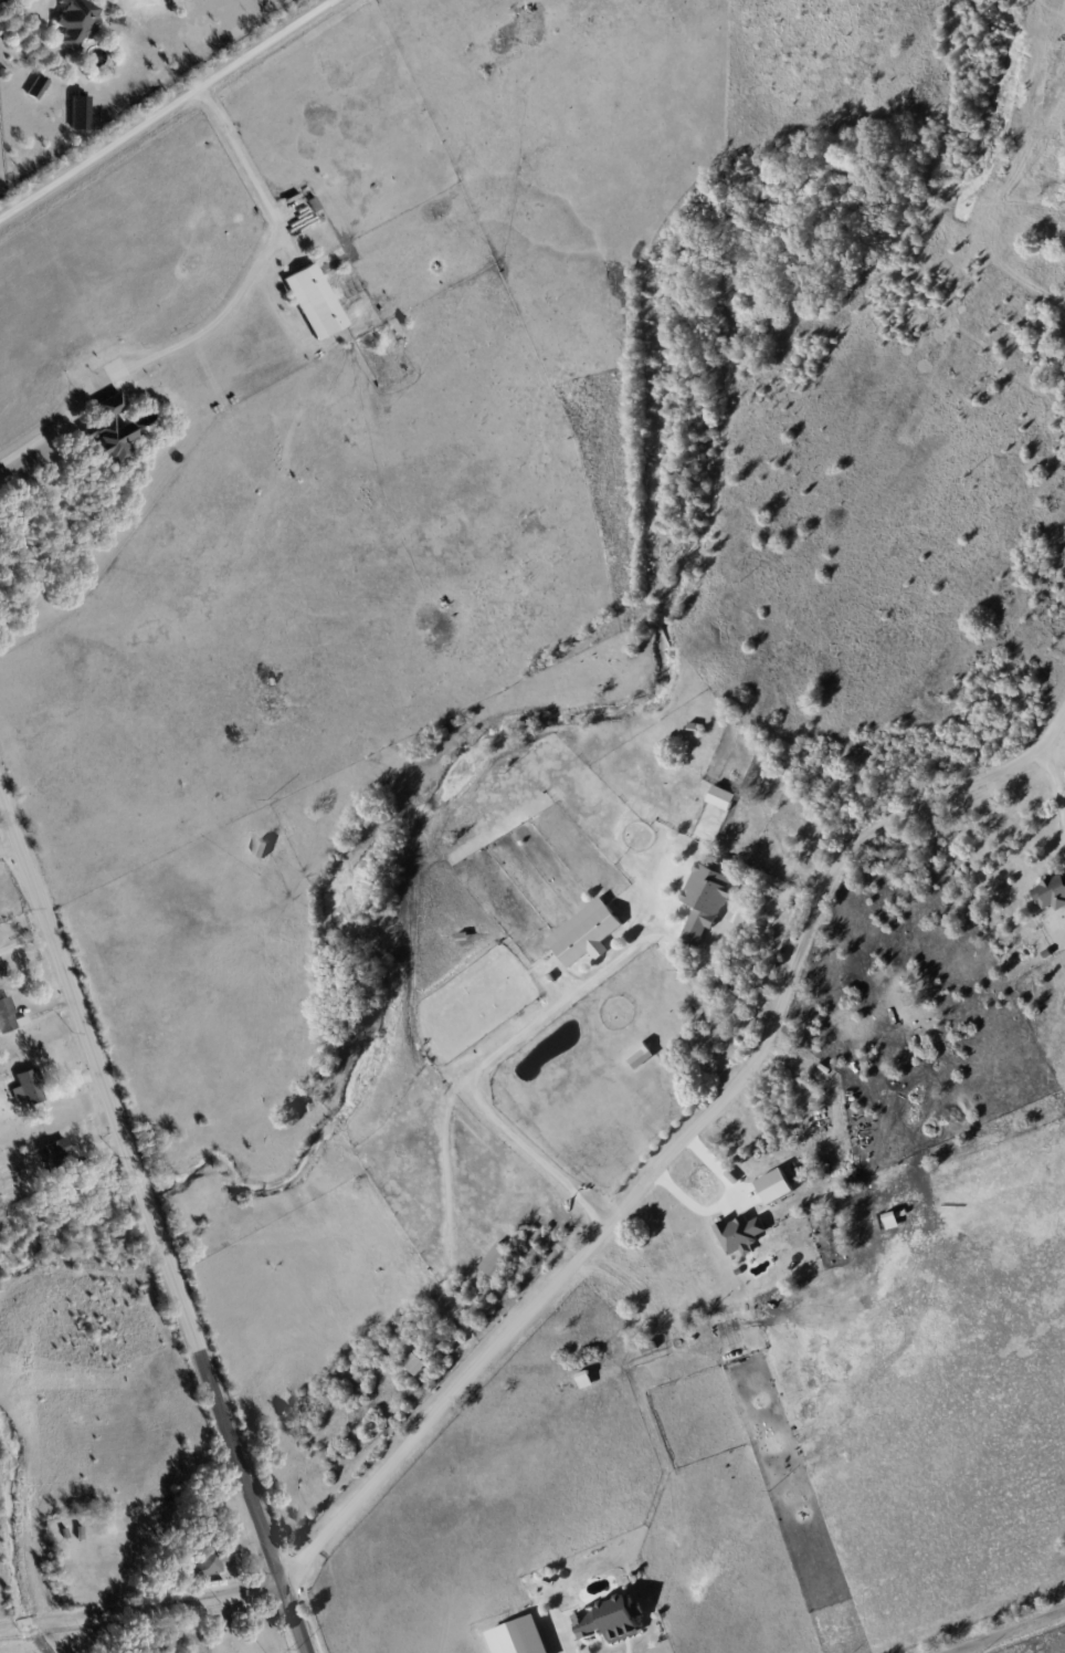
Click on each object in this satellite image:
building: (75, 22)
building: (36, 86)
road: (167, 107)
building: (315, 302)
road: (222, 318)
building: (112, 430)
road: (1055, 781)
building: (721, 796)
road: (8, 847)
building: (1051, 890)
building: (705, 900)
building: (586, 932)
road: (22, 939)
road: (730, 986)
building: (639, 1054)
road: (486, 1060)
building: (28, 1086)
road: (689, 1138)
building: (55, 1153)
building: (776, 1185)
road: (723, 1201)
road: (152, 1226)
building: (740, 1233)
building: (496, 1259)
building: (414, 1363)
building: (211, 1563)
road: (141, 1607)
building: (610, 1619)
road: (1013, 1633)
building: (519, 1638)
road: (570, 1651)

